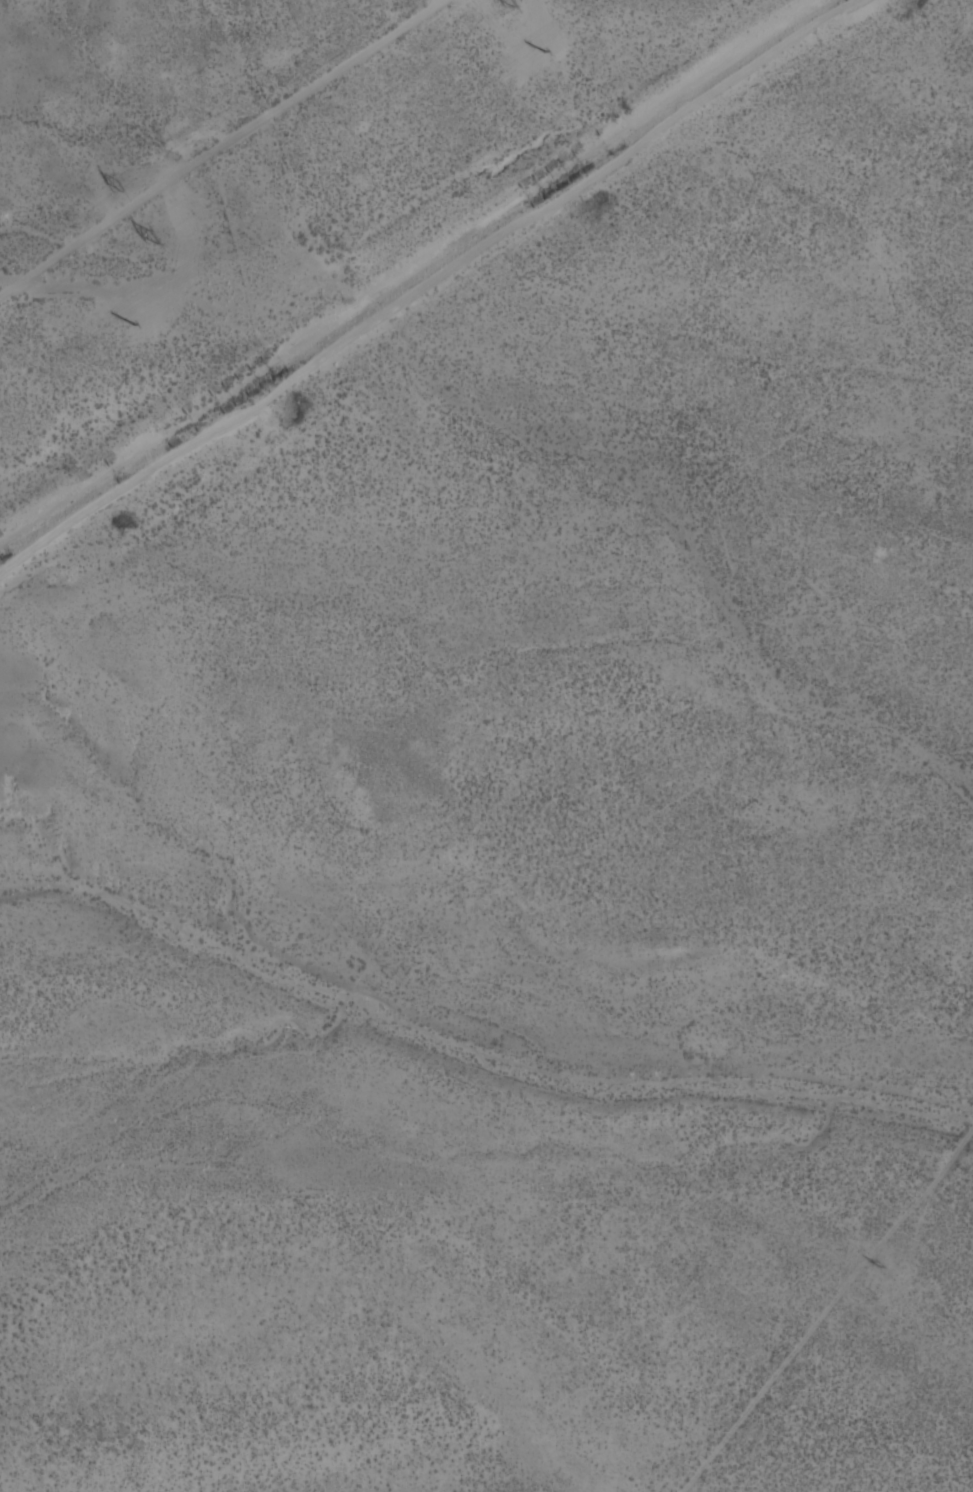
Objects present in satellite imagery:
power tower: (427, 53)
power tower: (546, 53)
road: (219, 147)
power tower: (121, 185)
road: (424, 281)
power tower: (135, 329)
power tower: (873, 1263)

